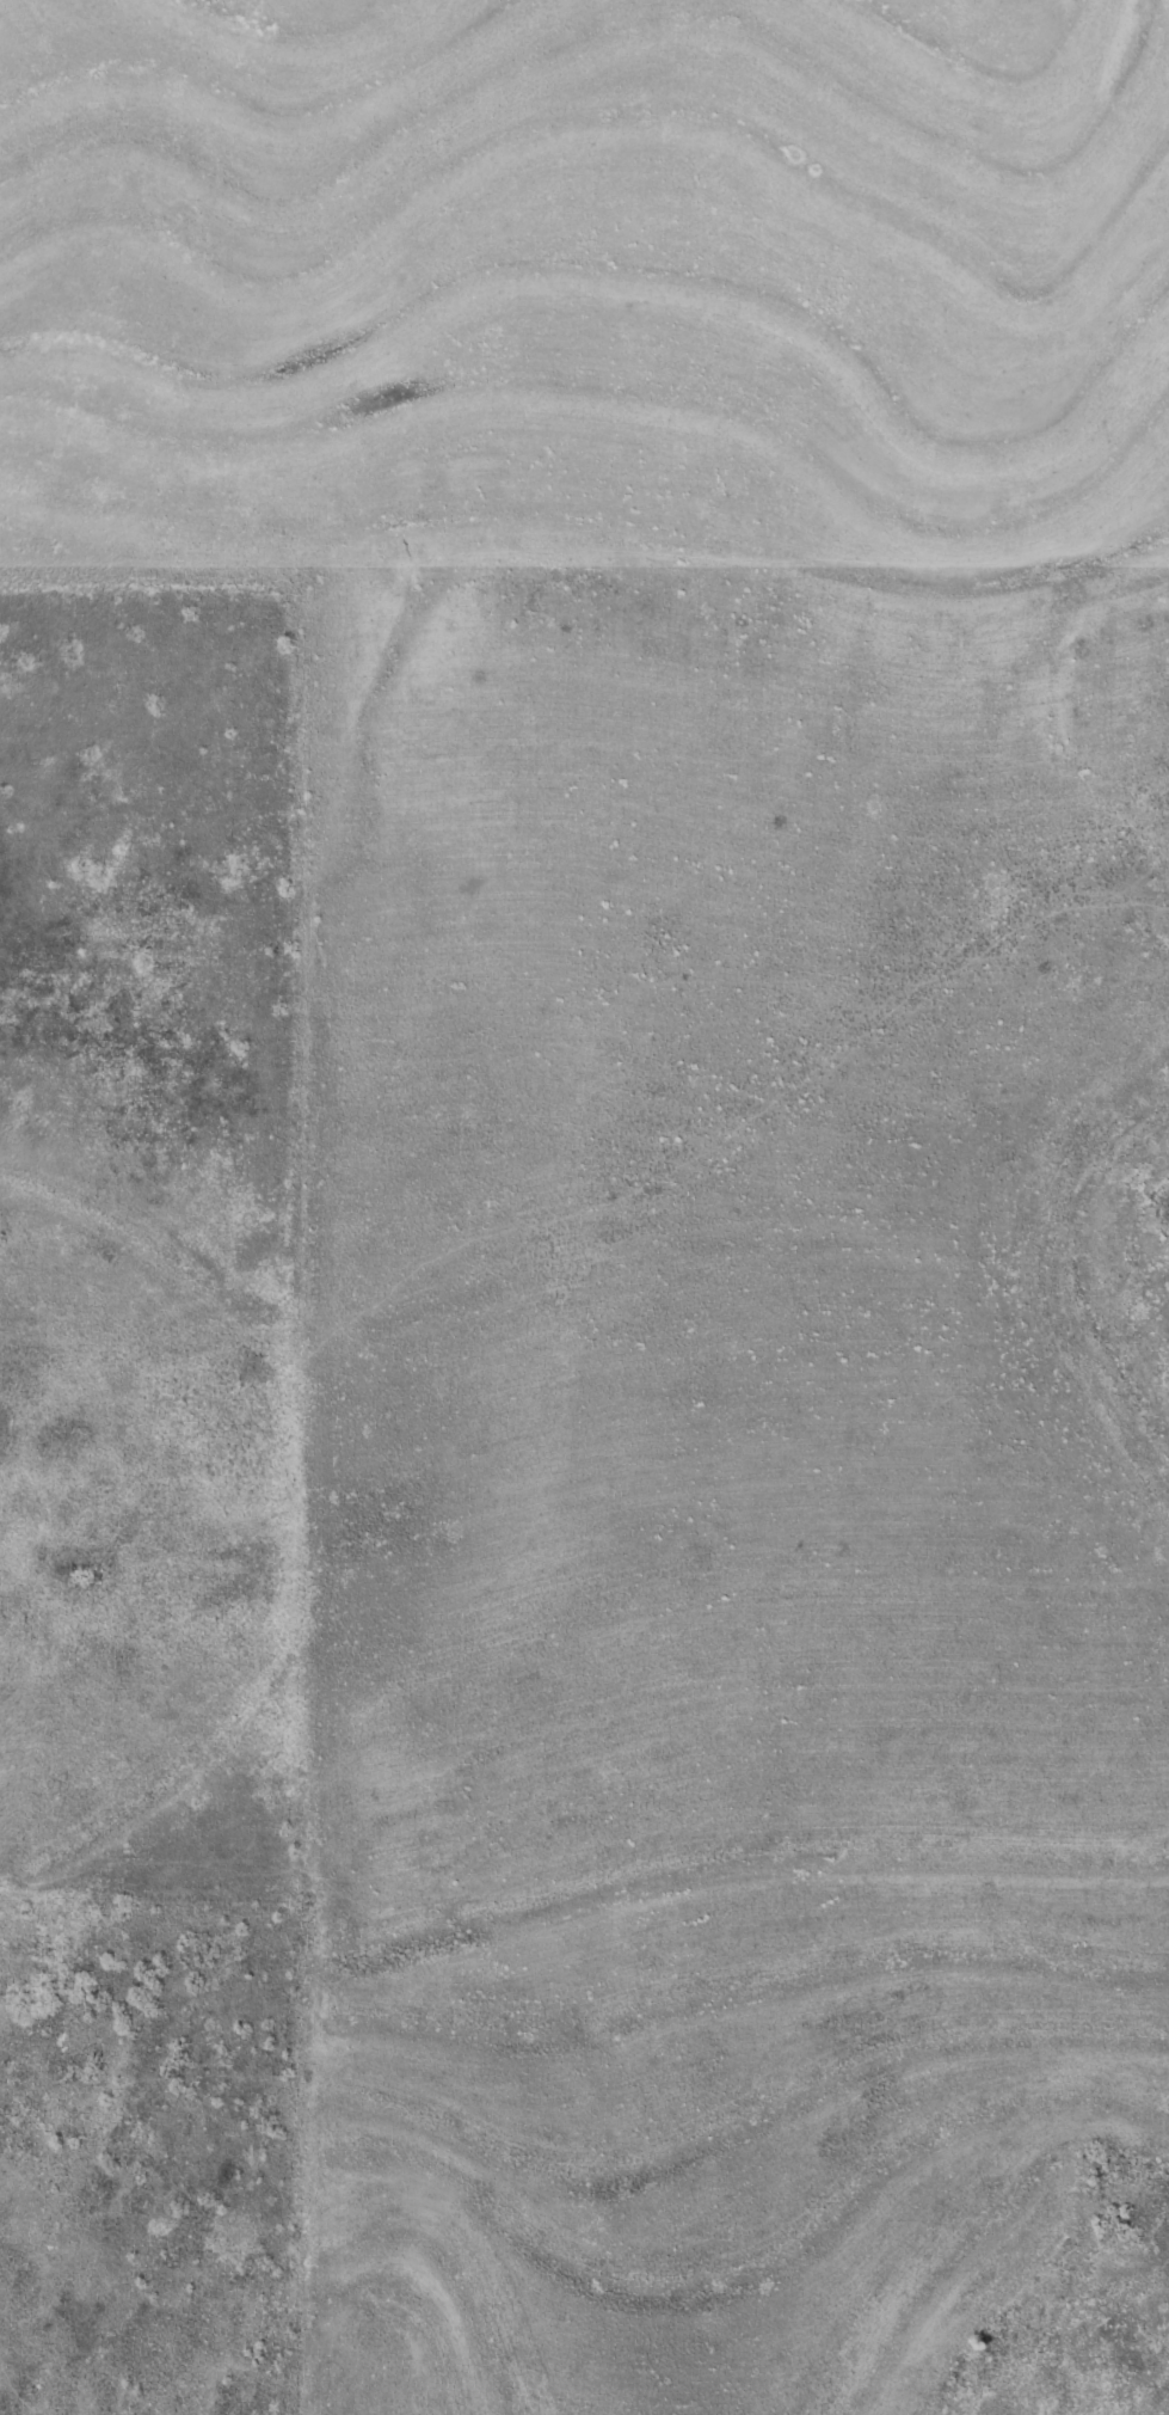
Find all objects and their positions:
road: (1082, 1262)

